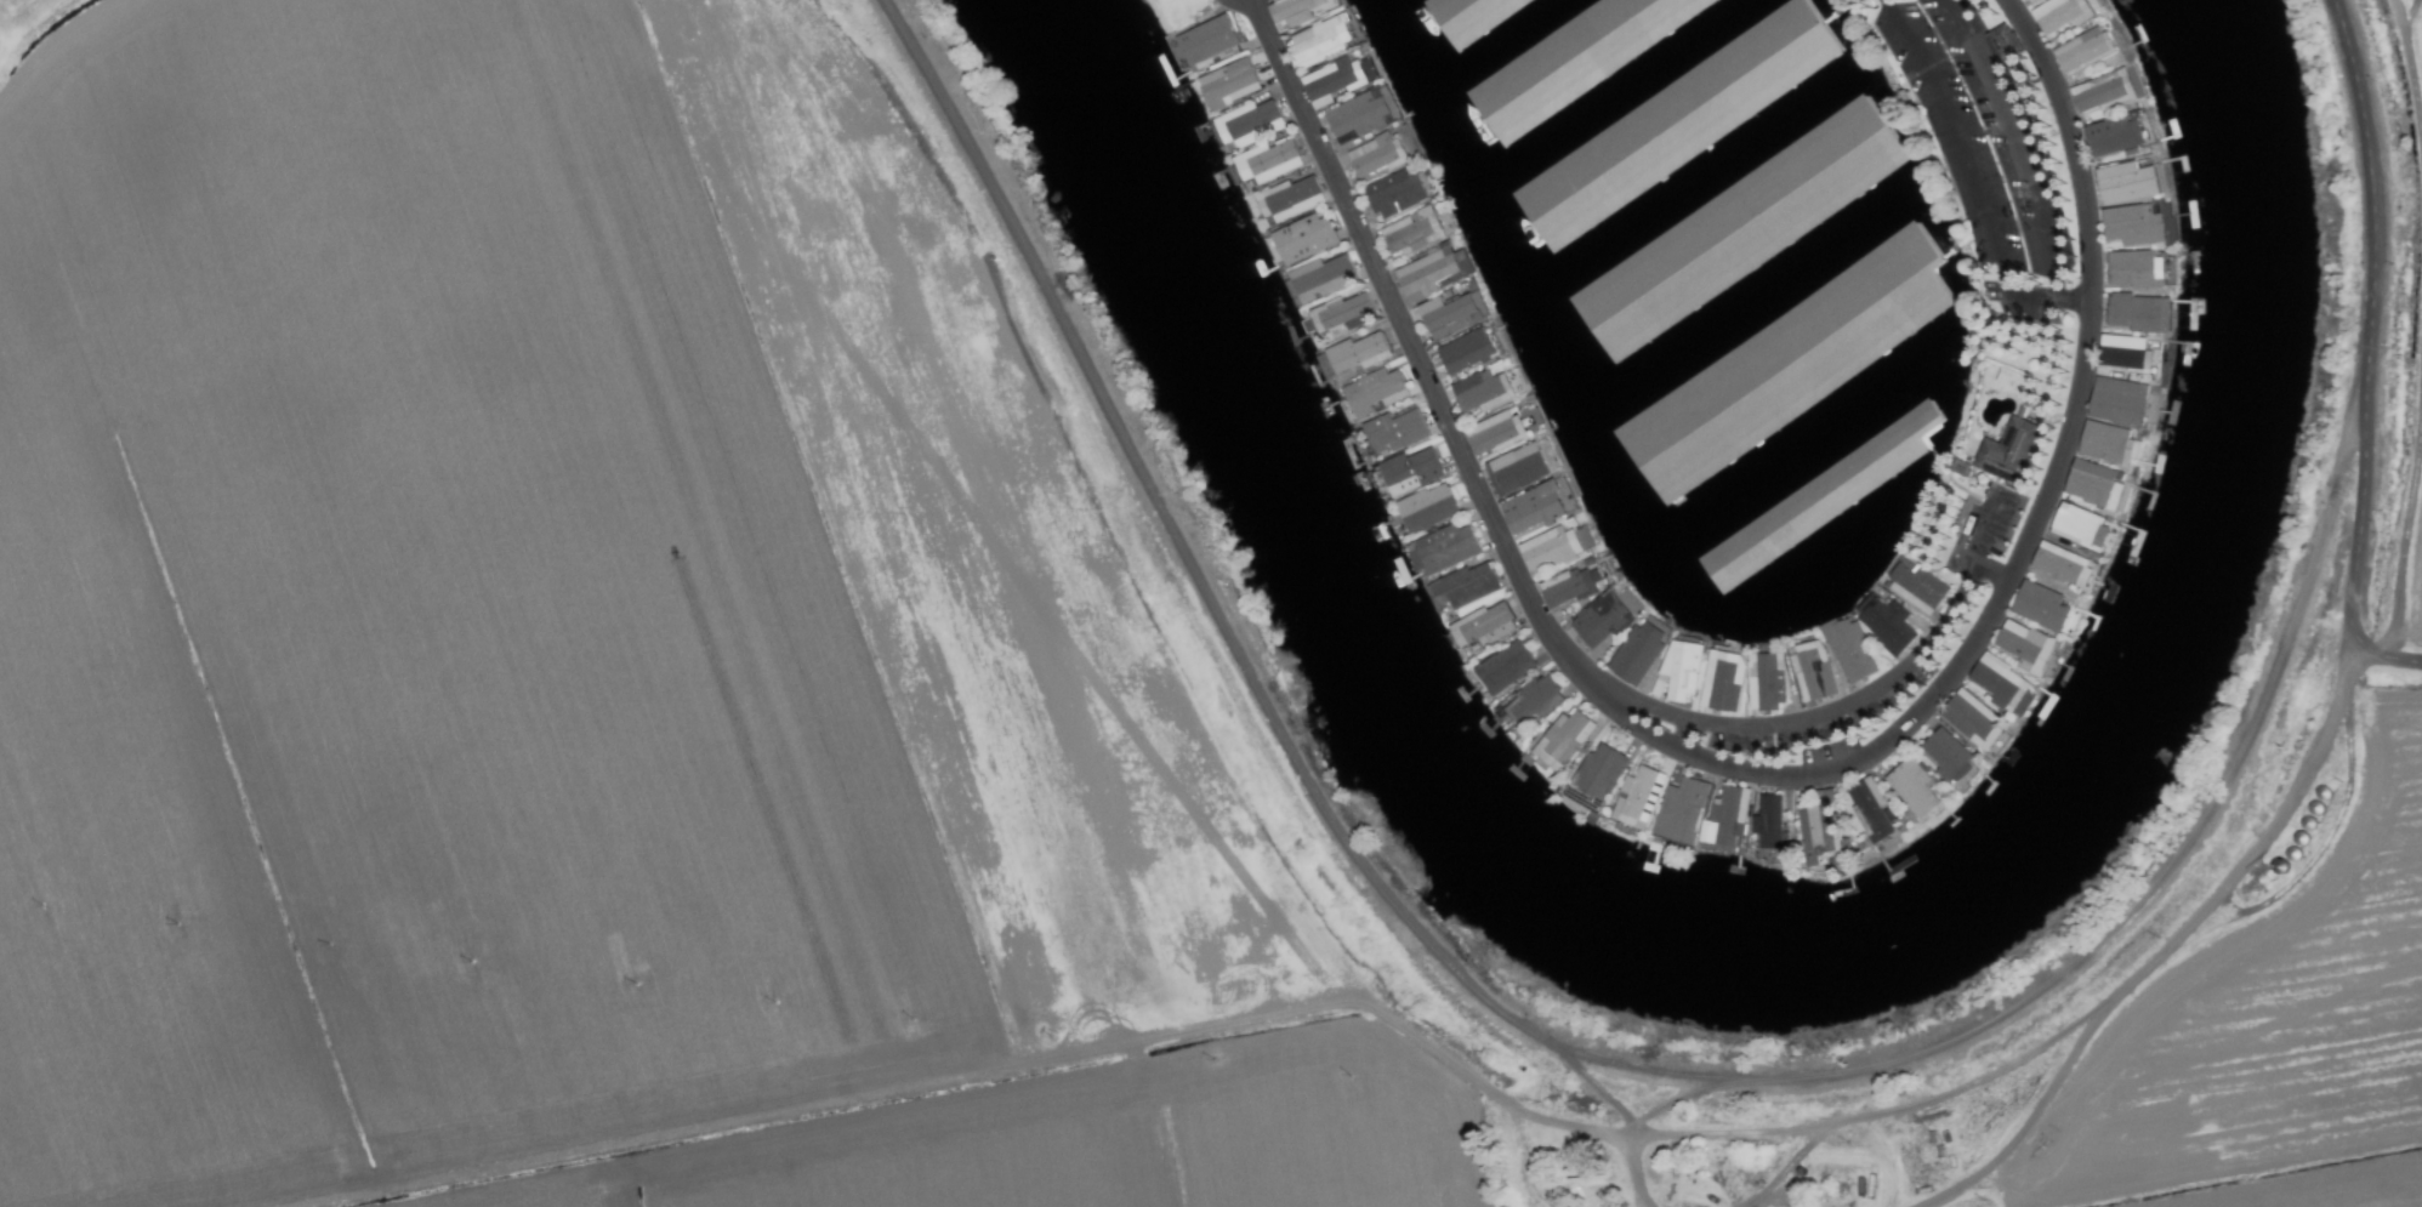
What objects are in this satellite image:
building: (2029, 2)
building: (1292, 12)
building: (2059, 15)
building: (1804, 35)
building: (1206, 41)
building: (1318, 41)
building: (2081, 50)
building: (1335, 81)
building: (1228, 85)
building: (2102, 92)
building: (1357, 116)
building: (1247, 124)
building: (2114, 136)
road: (1956, 144)
road: (2008, 144)
building: (1371, 155)
building: (1267, 163)
building: (2126, 183)
building: (1393, 195)
building: (1287, 200)
building: (1411, 232)
building: (1302, 239)
building: (2133, 269)
building: (1432, 273)
building: (1320, 279)
road: (2087, 291)
road: (2043, 301)
building: (2137, 313)
building: (1343, 317)
building: (1448, 317)
building: (2121, 352)
road: (1415, 353)
building: (1465, 353)
road: (2365, 353)
building: (1357, 354)
building: (1371, 393)
building: (1482, 393)
building: (2117, 402)
building: (1393, 432)
building: (1494, 433)
building: (2107, 444)
building: (2007, 452)
building: (1516, 471)
building: (1409, 472)
building: (2092, 485)
building: (1533, 508)
building: (1426, 509)
building: (2080, 528)
road: (1988, 535)
building: (1582, 537)
building: (1442, 550)
building: (1548, 550)
building: (2062, 567)
road: (1989, 577)
building: (1463, 586)
building: (1918, 586)
building: (1567, 588)
building: (2039, 607)
building: (1604, 619)
building: (1887, 626)
building: (1483, 627)
building: (2024, 647)
building: (1848, 650)
building: (1637, 653)
building: (1503, 668)
building: (1678, 672)
building: (1812, 672)
building: (1721, 682)
building: (1766, 683)
building: (2002, 685)
building: (1533, 701)
crop: (871, 708)
road: (1814, 712)
building: (1972, 721)
building: (1562, 741)
building: (1946, 756)
road: (1833, 770)
building: (1598, 773)
building: (1912, 788)
building: (1637, 798)
building: (1871, 809)
building: (1679, 812)
building: (1768, 821)
building: (1818, 835)

